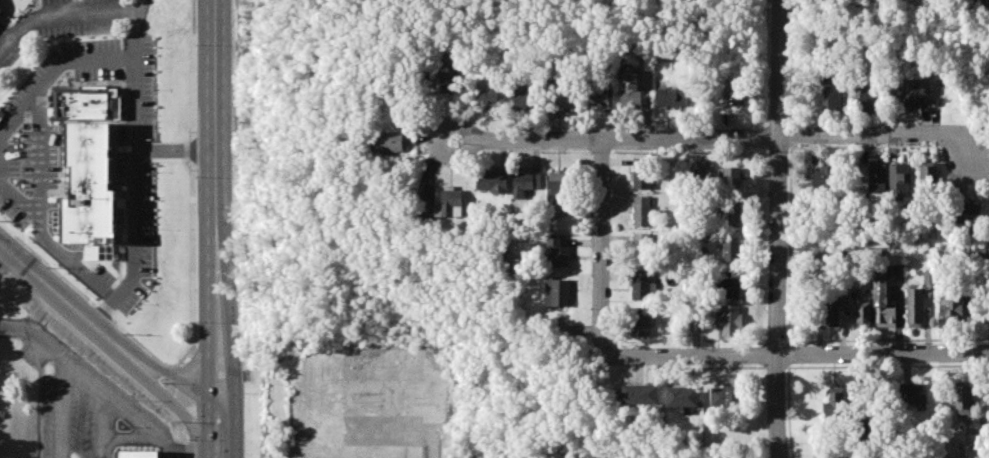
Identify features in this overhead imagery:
building: (979, 1)
building: (0, 14)
road: (63, 16)
parking lot: (78, 17)
parking lot: (8, 48)
parking lot: (91, 60)
road: (45, 66)
road: (131, 73)
building: (451, 79)
parking lot: (145, 85)
building: (631, 90)
building: (915, 92)
building: (730, 95)
building: (832, 96)
building: (560, 97)
building: (600, 97)
building: (523, 98)
building: (673, 98)
building: (487, 99)
road: (214, 122)
road: (716, 136)
building: (391, 141)
parking lot: (120, 152)
parking lot: (27, 153)
building: (85, 163)
building: (641, 173)
building: (875, 176)
building: (732, 177)
building: (929, 177)
road: (778, 178)
building: (823, 178)
building: (899, 178)
building: (492, 182)
building: (525, 183)
road: (193, 184)
building: (558, 193)
road: (133, 200)
building: (450, 203)
building: (642, 210)
building: (731, 213)
building: (970, 213)
parking lot: (141, 243)
building: (641, 247)
road: (608, 249)
building: (557, 251)
building: (730, 251)
building: (878, 252)
building: (973, 254)
building: (988, 254)
building: (847, 264)
parking lot: (104, 274)
building: (929, 276)
building: (642, 285)
building: (730, 288)
building: (556, 292)
road: (60, 295)
building: (882, 305)
building: (950, 306)
building: (914, 307)
building: (832, 309)
building: (863, 310)
building: (729, 320)
building: (639, 322)
road: (36, 339)
road: (235, 349)
road: (209, 351)
road: (798, 355)
road: (178, 376)
road: (179, 377)
road: (174, 391)
building: (914, 393)
road: (163, 394)
building: (640, 394)
building: (681, 396)
building: (724, 396)
road: (169, 400)
building: (963, 400)
road: (777, 407)
building: (835, 407)
road: (122, 409)
road: (62, 411)
road: (171, 413)
building: (862, 427)
road: (185, 432)
road: (188, 449)
road: (194, 454)
building: (137, 455)
road: (178, 456)

